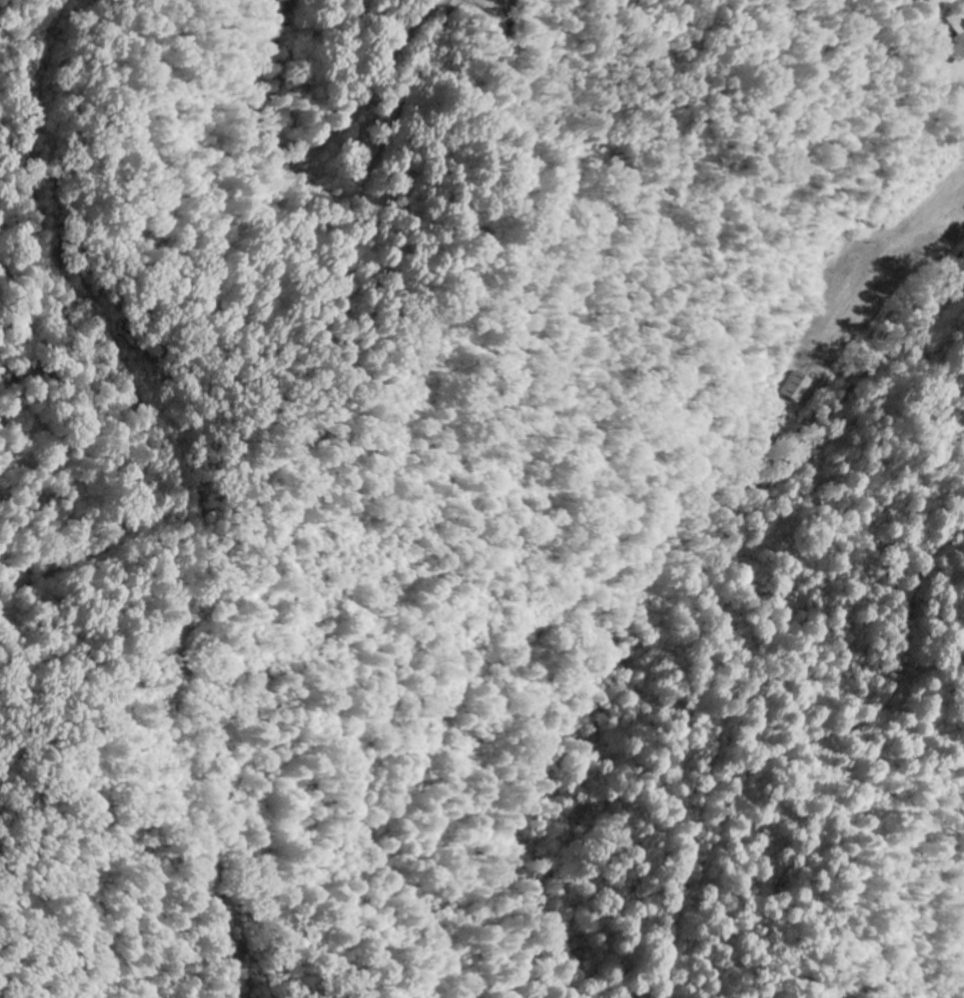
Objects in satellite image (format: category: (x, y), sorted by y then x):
building: (795, 387)

